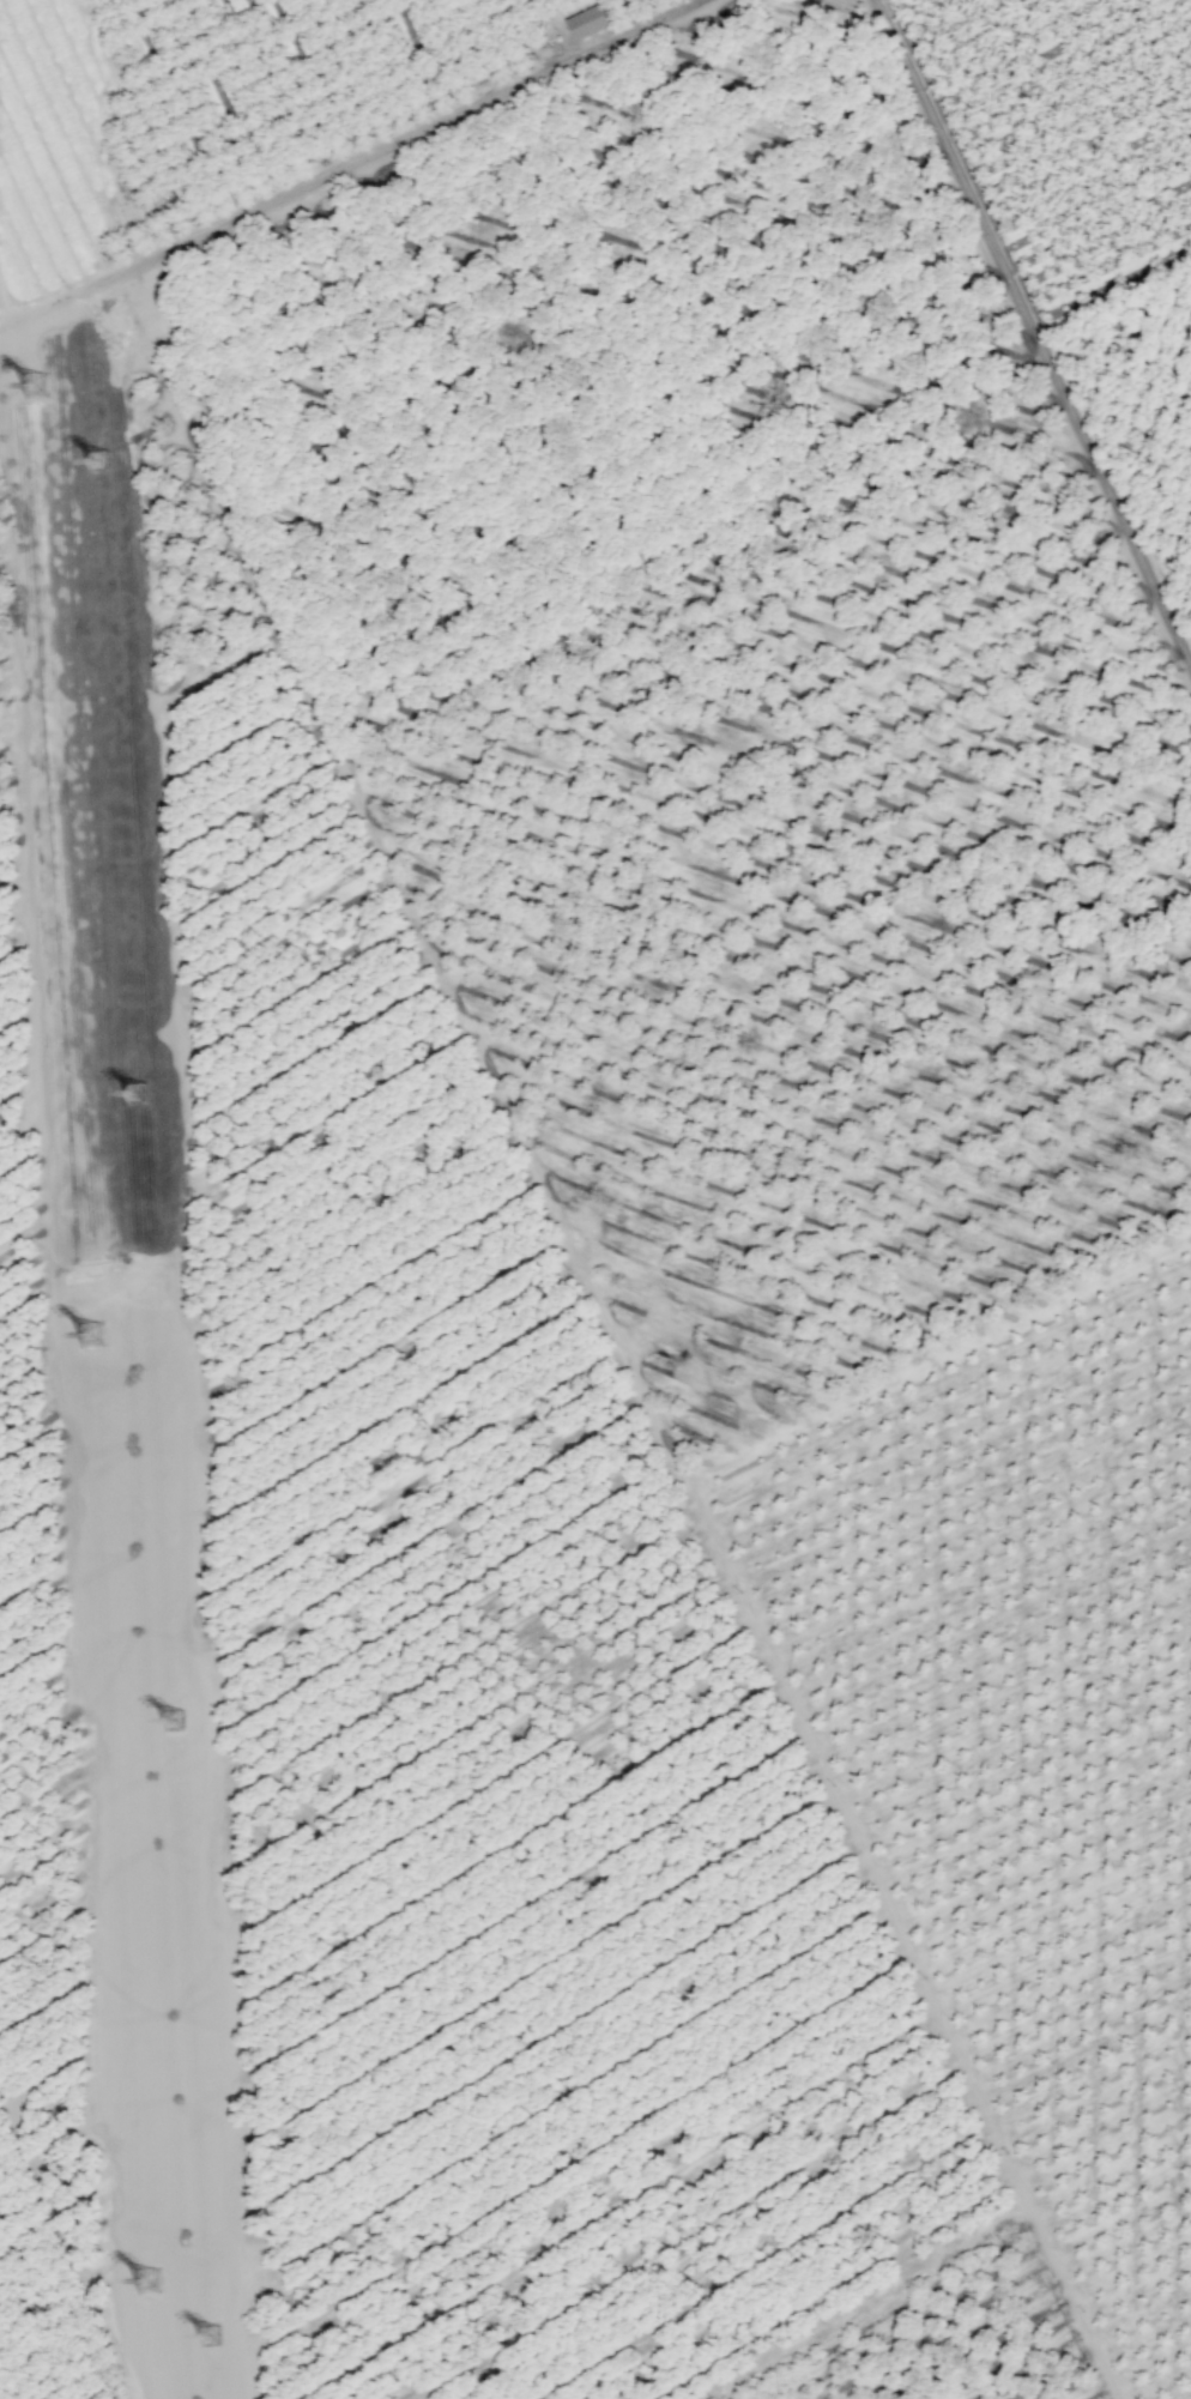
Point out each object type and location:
building: (586, 23)
road: (1034, 332)
power tower: (40, 387)
power tower: (104, 464)
power tower: (143, 1098)
road: (627, 1293)
power tower: (96, 1339)
power tower: (180, 1723)
power tower: (155, 2284)
power tower: (214, 2339)

